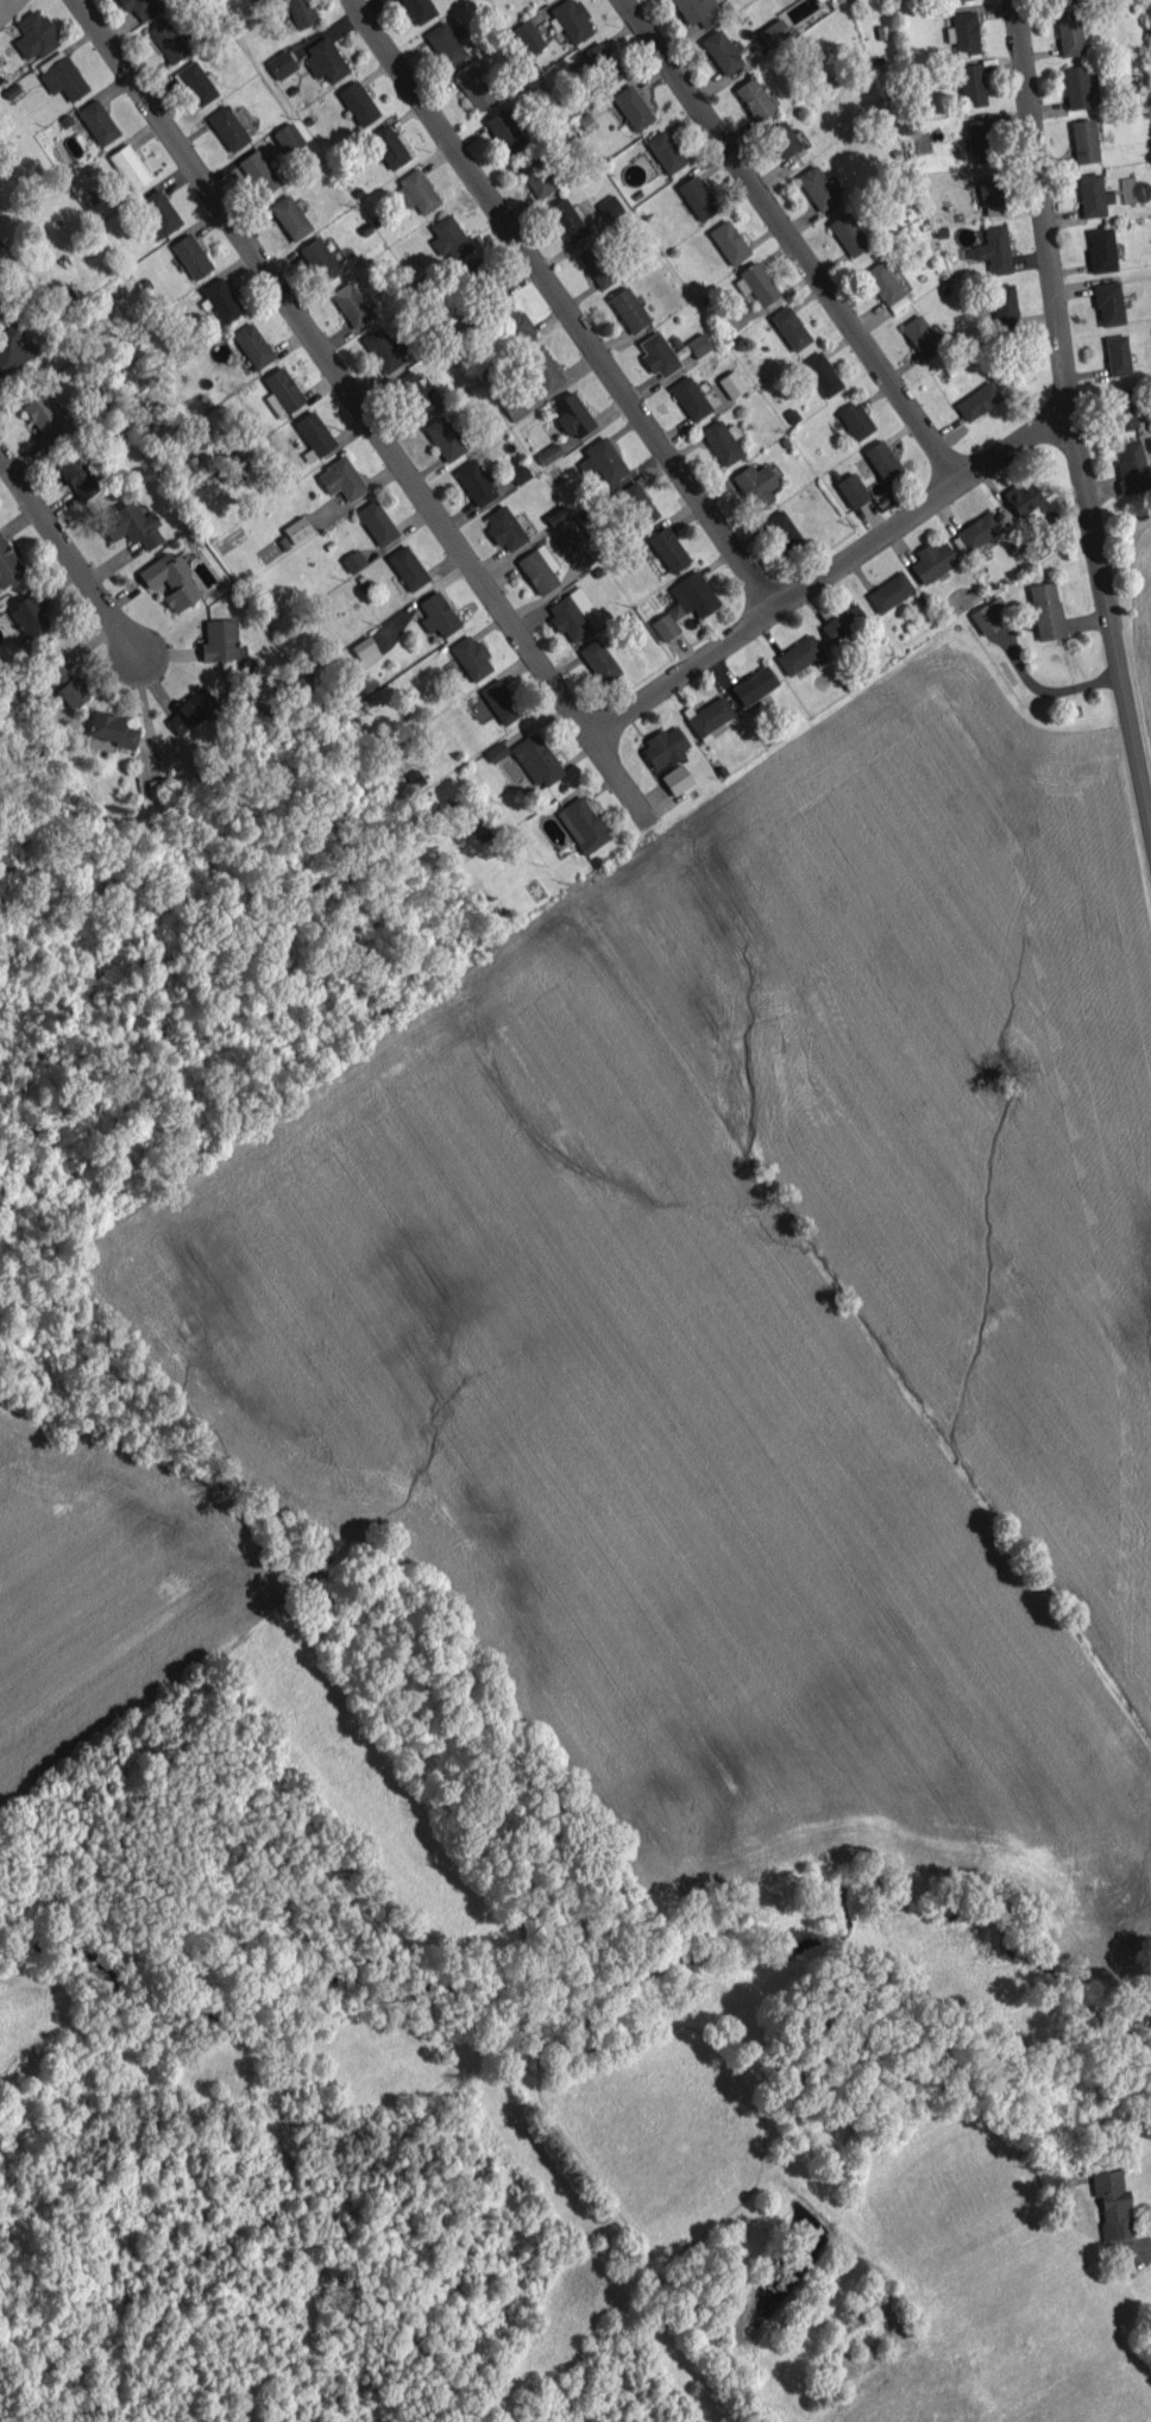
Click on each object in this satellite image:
building: (951, 0)
building: (140, 7)
building: (419, 10)
building: (698, 11)
building: (300, 12)
building: (572, 19)
building: (774, 32)
building: (966, 32)
building: (1069, 33)
building: (34, 34)
building: (528, 37)
building: (166, 39)
building: (445, 44)
building: (723, 51)
building: (323, 58)
building: (281, 64)
building: (602, 64)
building: (61, 75)
building: (196, 83)
building: (971, 84)
building: (1076, 86)
building: (474, 87)
building: (755, 99)
building: (358, 102)
building: (631, 107)
building: (98, 121)
building: (227, 127)
building: (504, 131)
building: (288, 138)
building: (782, 138)
building: (980, 139)
building: (1083, 140)
building: (388, 145)
building: (665, 151)
building: (128, 165)
building: (258, 172)
building: (534, 174)
building: (816, 187)
building: (989, 189)
building: (416, 192)
building: (1093, 194)
building: (697, 196)
building: (610, 207)
building: (993, 209)
building: (158, 212)
building: (289, 217)
building: (566, 219)
building: (848, 233)
building: (448, 238)
building: (728, 241)
road: (792, 241)
building: (993, 249)
building: (1101, 249)
building: (190, 256)
building: (320, 258)
building: (597, 264)
building: (474, 269)
building: (755, 283)
building: (886, 287)
building: (221, 300)
building: (1108, 302)
building: (351, 305)
road: (564, 305)
building: (1004, 305)
building: (628, 308)
building: (515, 321)
building: (790, 328)
building: (920, 335)
building: (698, 344)
building: (252, 345)
building: (11, 347)
building: (384, 349)
building: (658, 354)
building: (1117, 354)
building: (543, 369)
building: (822, 374)
building: (731, 383)
building: (282, 391)
building: (414, 391)
building: (690, 397)
building: (977, 401)
road: (1073, 407)
building: (1124, 408)
road: (363, 409)
building: (571, 414)
building: (44, 419)
building: (855, 420)
building: (314, 433)
building: (444, 438)
building: (722, 441)
building: (1149, 444)
building: (547, 453)
building: (602, 460)
building: (883, 462)
building: (1131, 468)
building: (518, 471)
building: (77, 476)
building: (341, 478)
building: (476, 482)
building: (755, 484)
building: (851, 489)
building: (1021, 496)
building: (636, 503)
building: (555, 514)
building: (376, 522)
building: (131, 525)
building: (297, 528)
building: (504, 528)
building: (979, 529)
building: (782, 531)
building: (567, 539)
building: (668, 548)
road: (73, 559)
building: (353, 560)
building: (932, 560)
building: (8, 564)
building: (407, 566)
building: (539, 567)
road: (829, 573)
building: (171, 579)
building: (889, 591)
building: (685, 603)
building: (1045, 610)
building: (29, 614)
building: (438, 614)
building: (572, 614)
building: (990, 614)
building: (843, 623)
building: (219, 640)
building: (365, 651)
building: (799, 654)
building: (472, 657)
building: (599, 660)
building: (64, 682)
building: (753, 685)
building: (499, 701)
building: (189, 710)
building: (710, 719)
building: (112, 728)
building: (665, 746)
building: (496, 751)
building: (536, 760)
building: (677, 779)
building: (581, 824)
building: (478, 827)
building: (1112, 2203)

